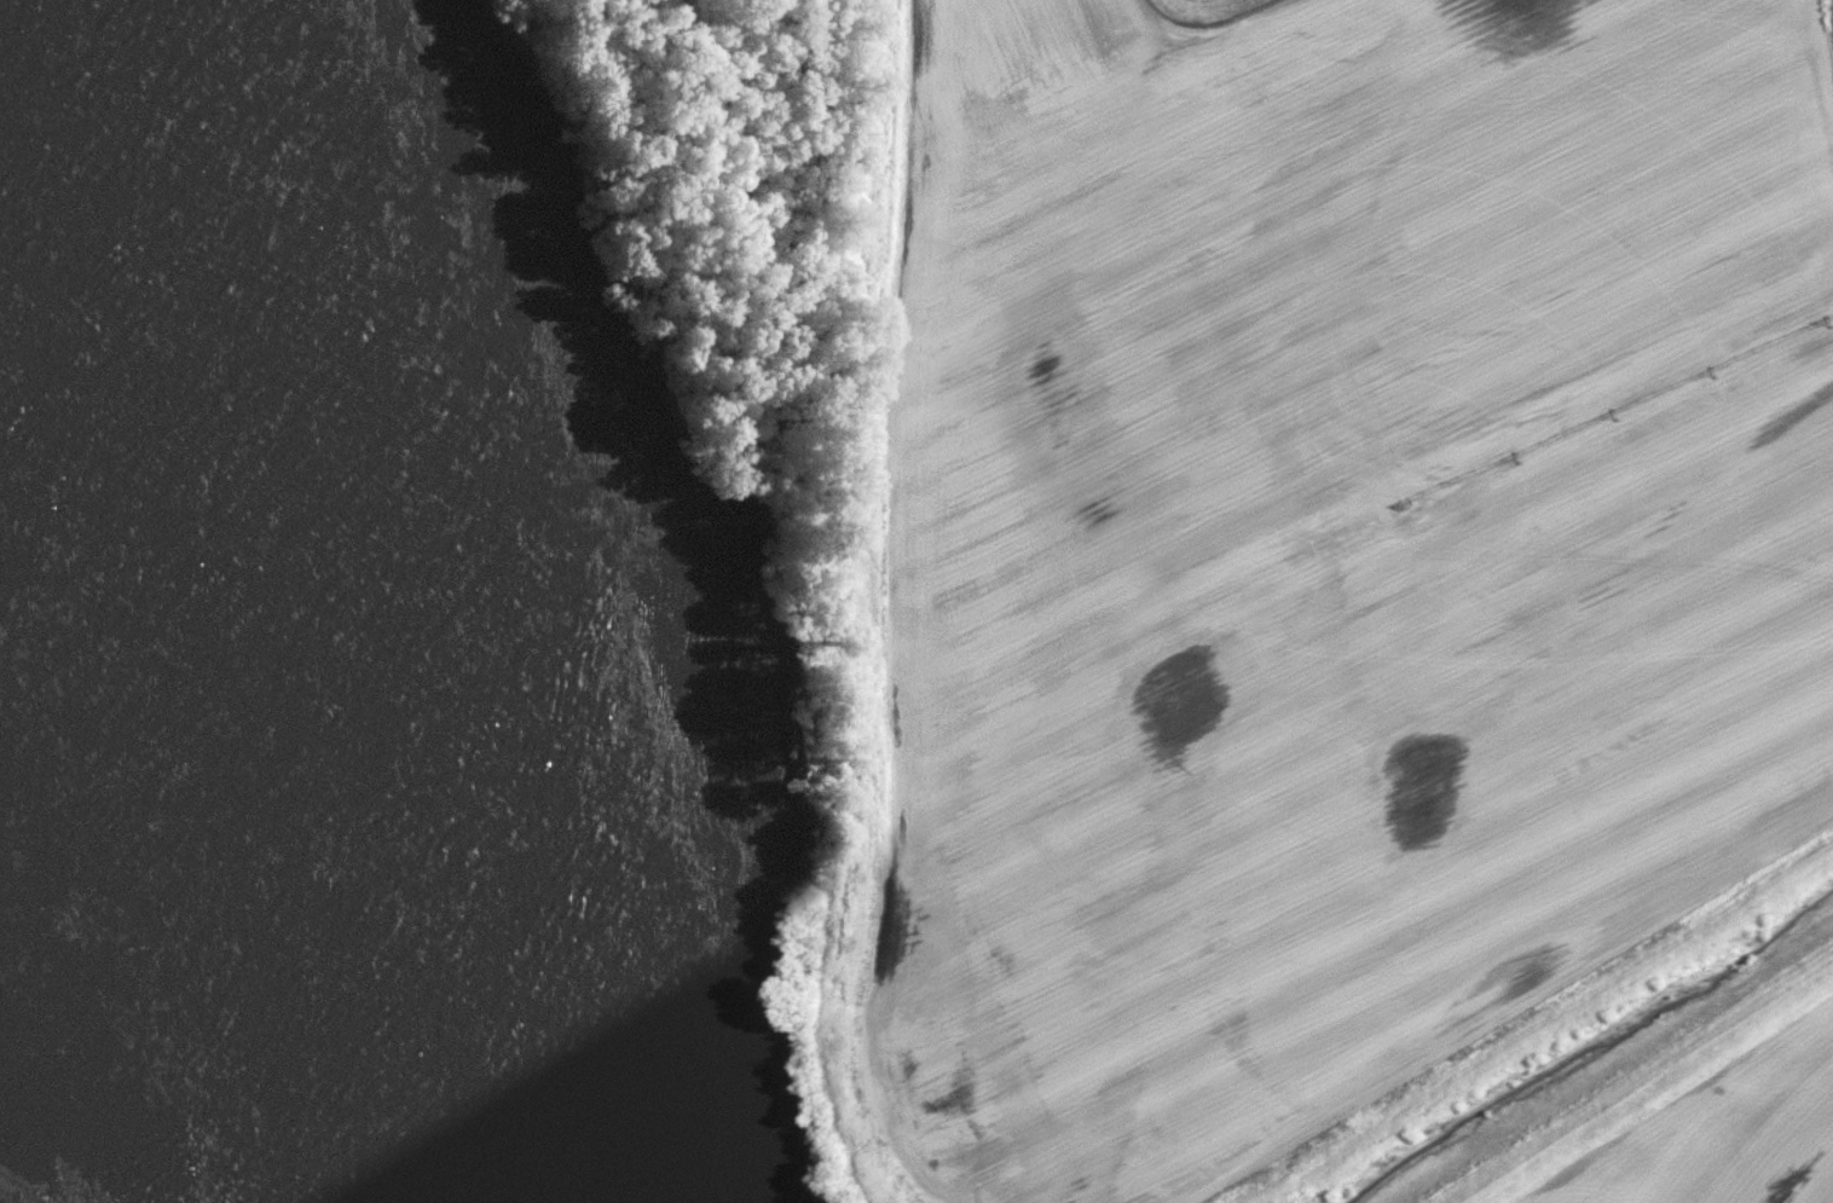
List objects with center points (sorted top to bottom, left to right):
crop: (1328, 546)
river: (210, 756)
crop: (1701, 1120)

